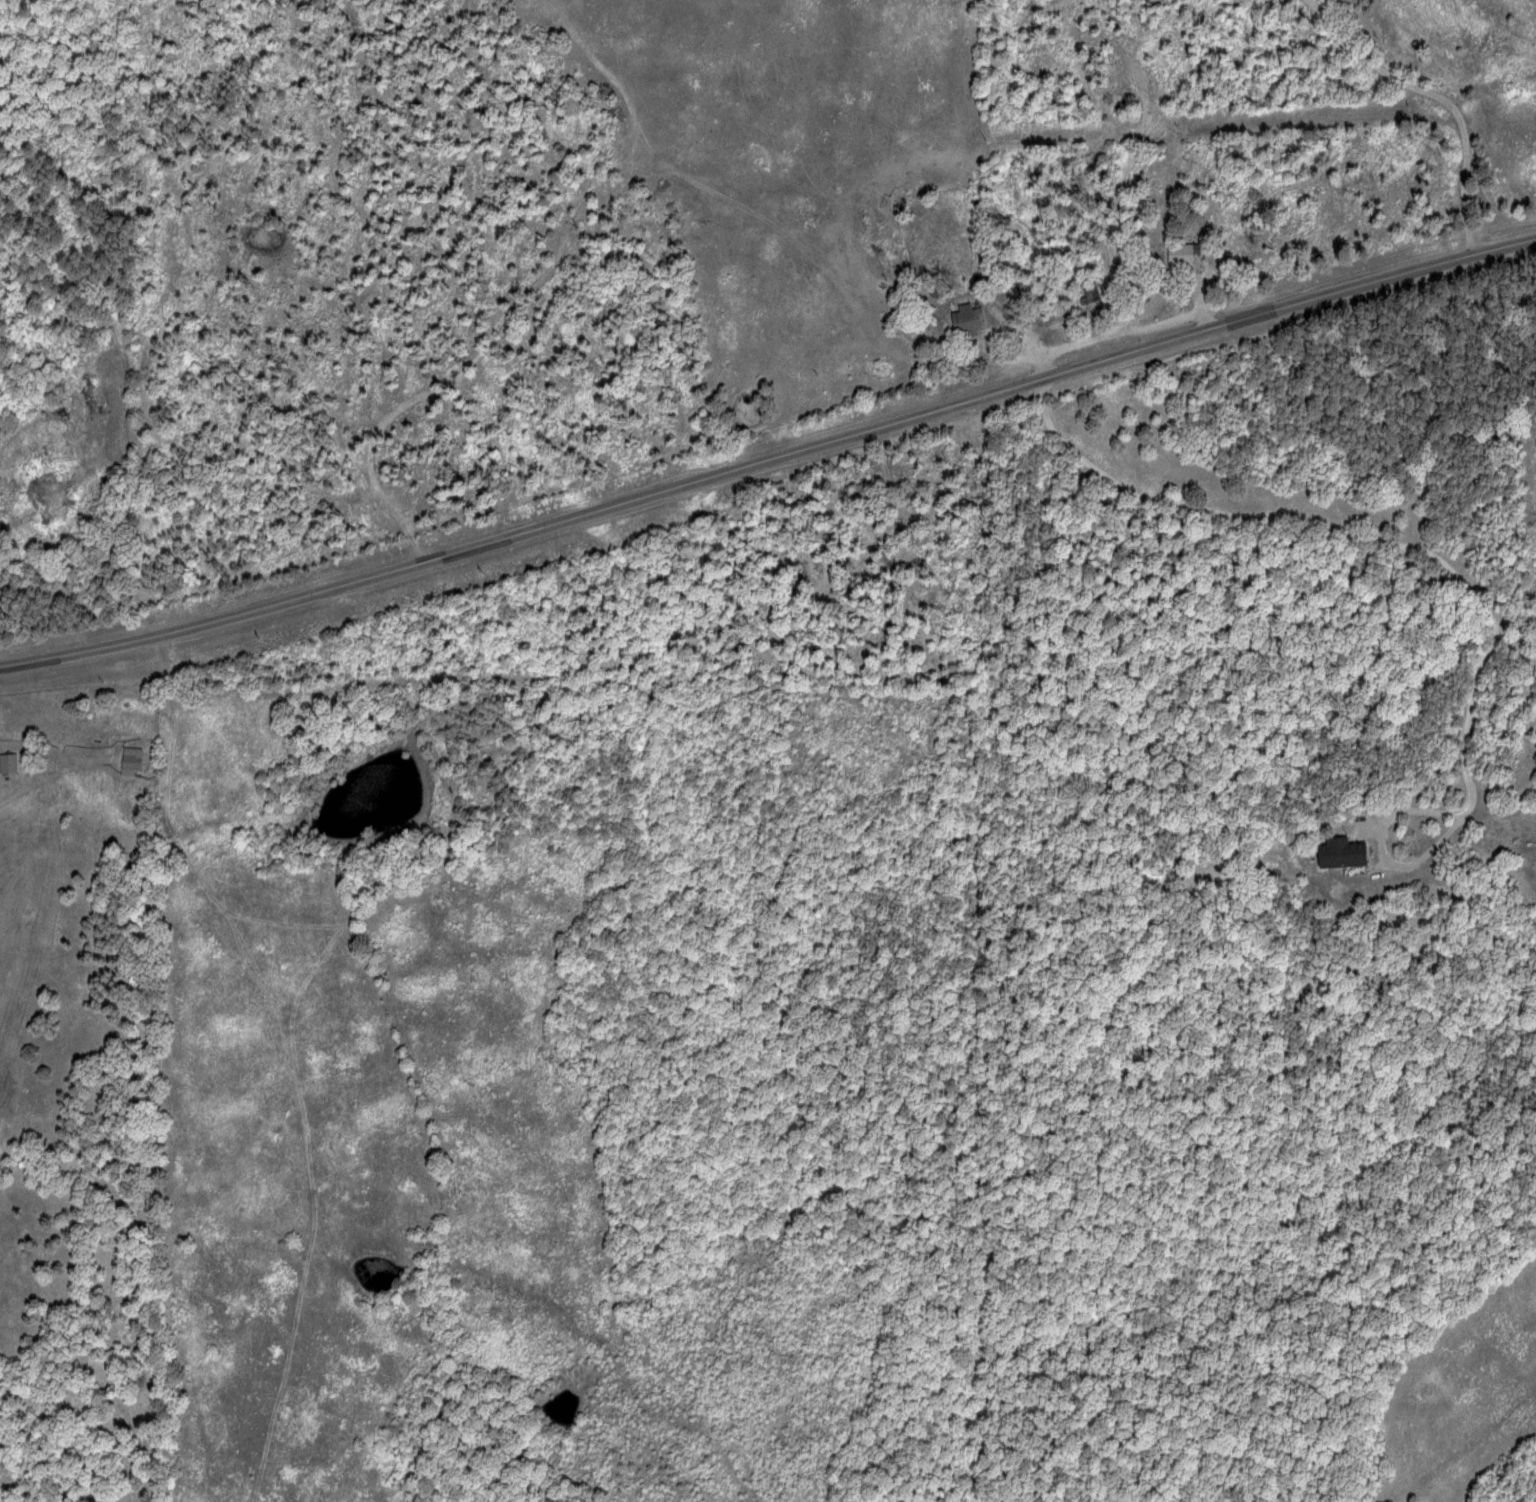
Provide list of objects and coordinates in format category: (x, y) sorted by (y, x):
road: (1431, 100)
building: (1192, 254)
building: (980, 319)
road: (769, 459)
road: (1347, 520)
building: (140, 762)
building: (17, 763)
building: (1355, 852)

